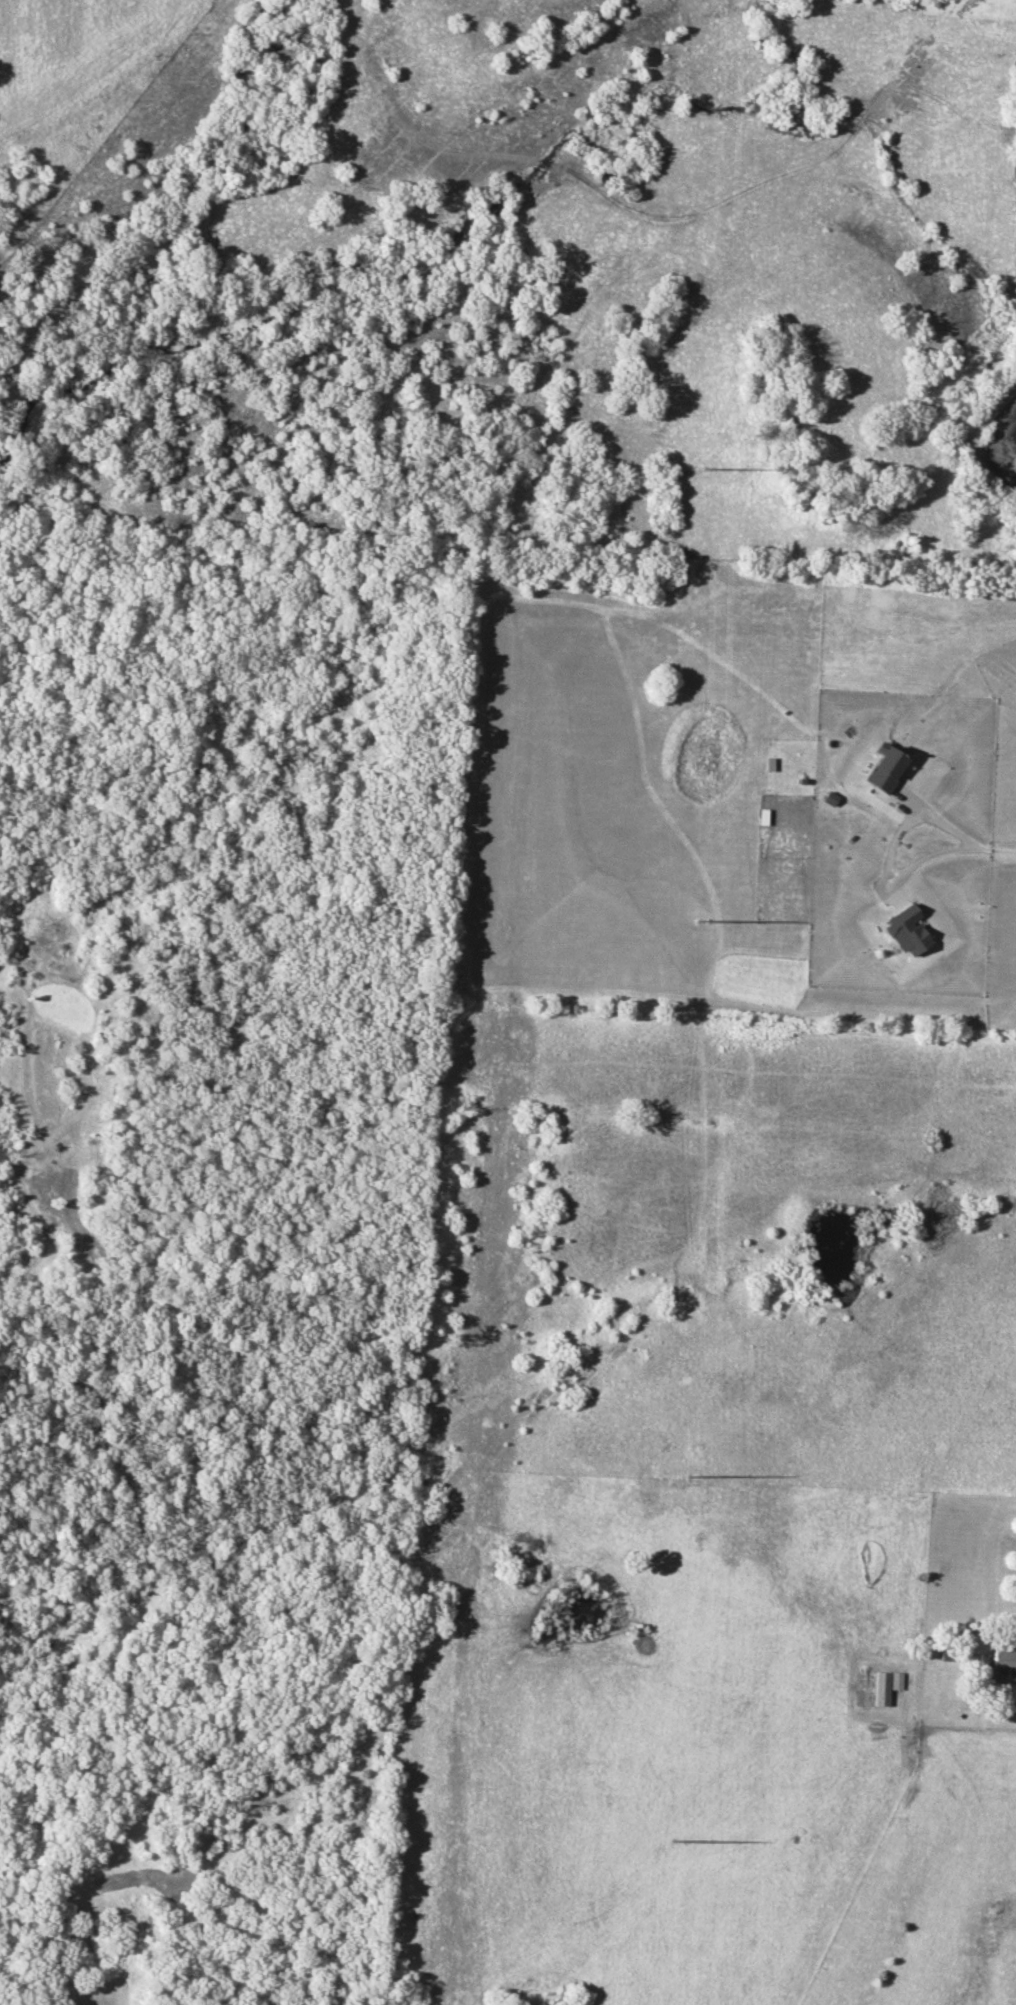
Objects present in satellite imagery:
power tower: (708, 469)
road: (892, 846)
road: (993, 850)
power tower: (700, 921)
power tower: (690, 1475)
building: (1004, 1658)
building: (884, 1686)
power tower: (675, 1841)

